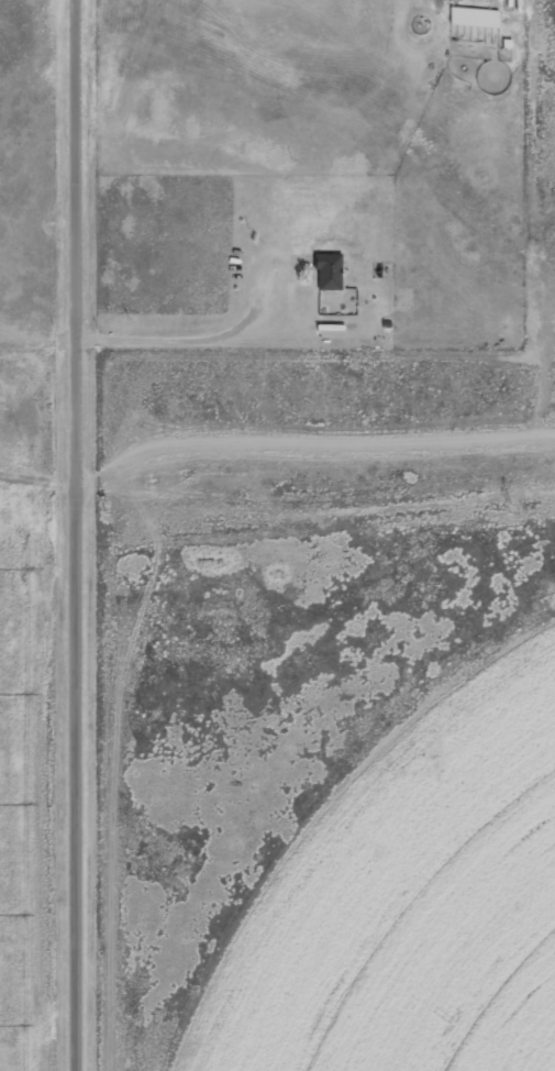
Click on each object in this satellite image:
building: (329, 270)
power tower: (103, 508)
power tower: (509, 510)
road: (76, 535)

